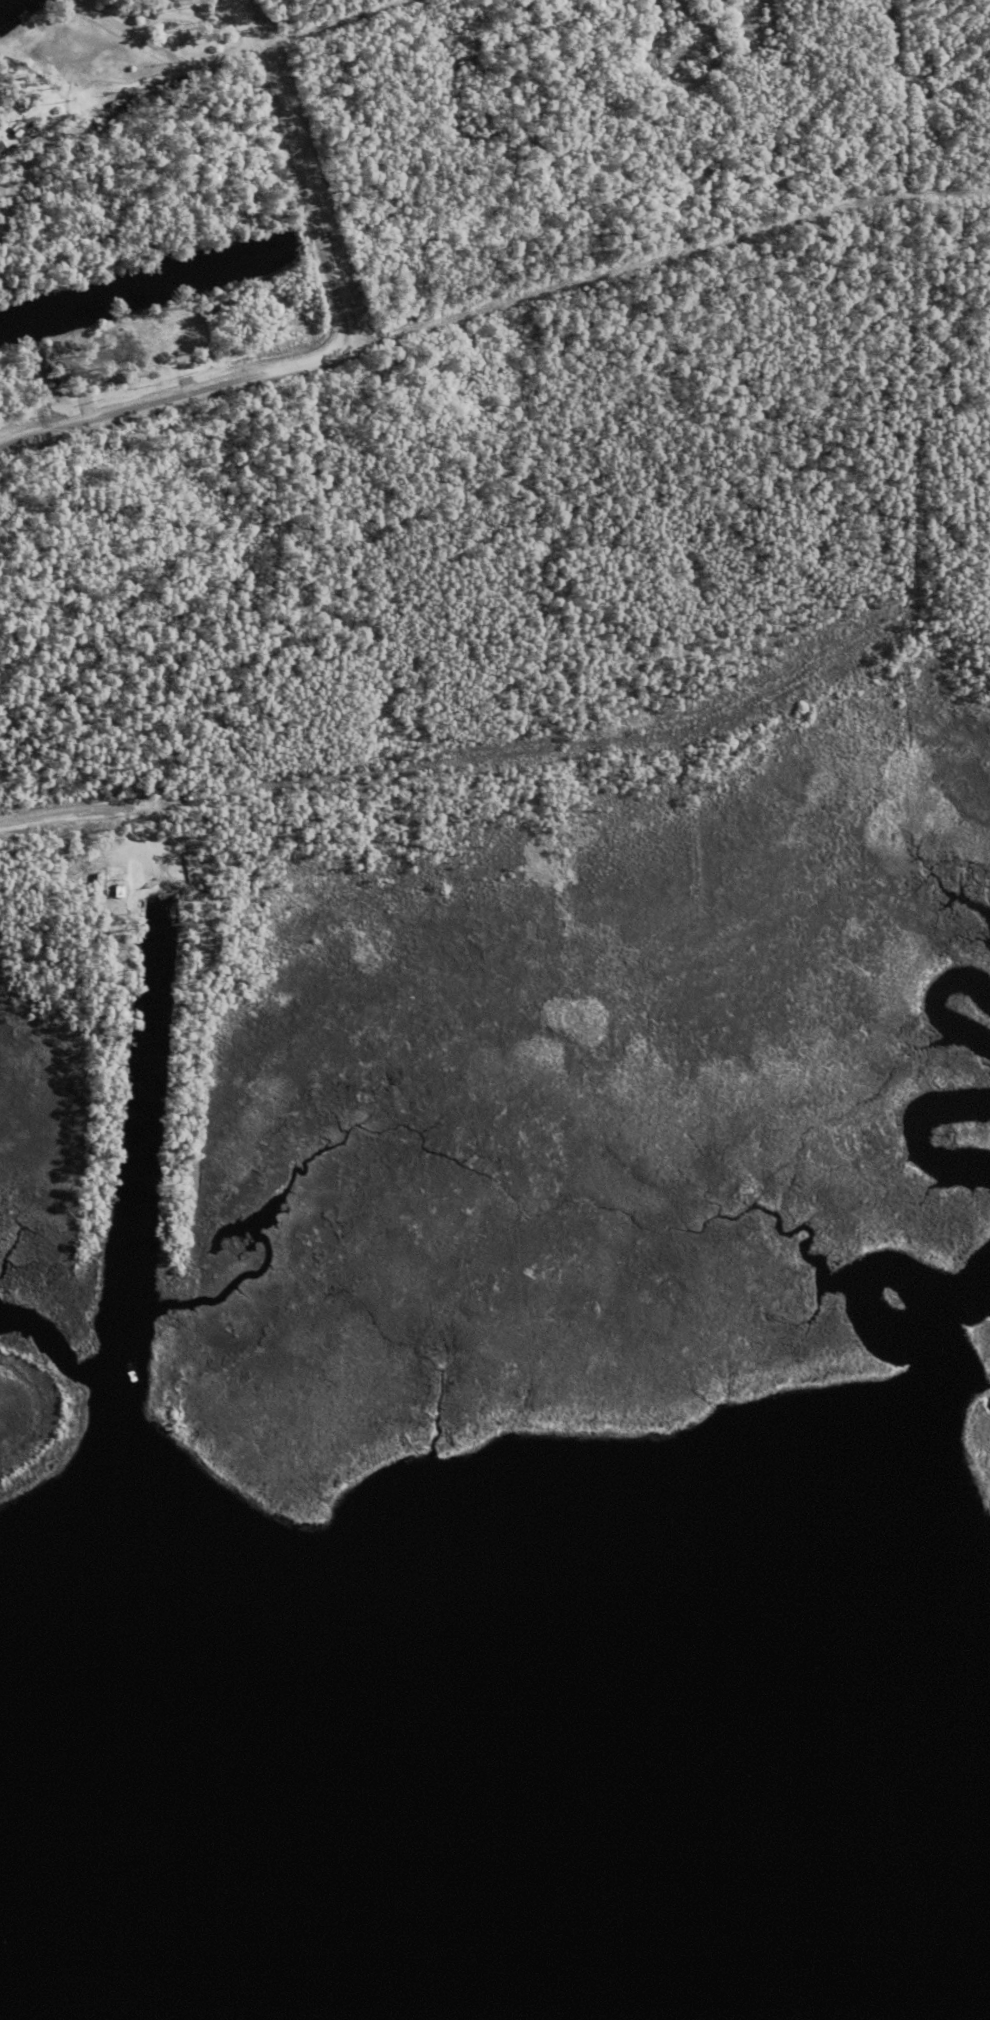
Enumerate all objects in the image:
road: (329, 24)
road: (685, 41)
road: (951, 54)
road: (472, 73)
road: (171, 74)
road: (296, 169)
road: (905, 201)
road: (493, 305)
road: (676, 513)
road: (400, 544)
road: (573, 746)
river: (263, 1970)

